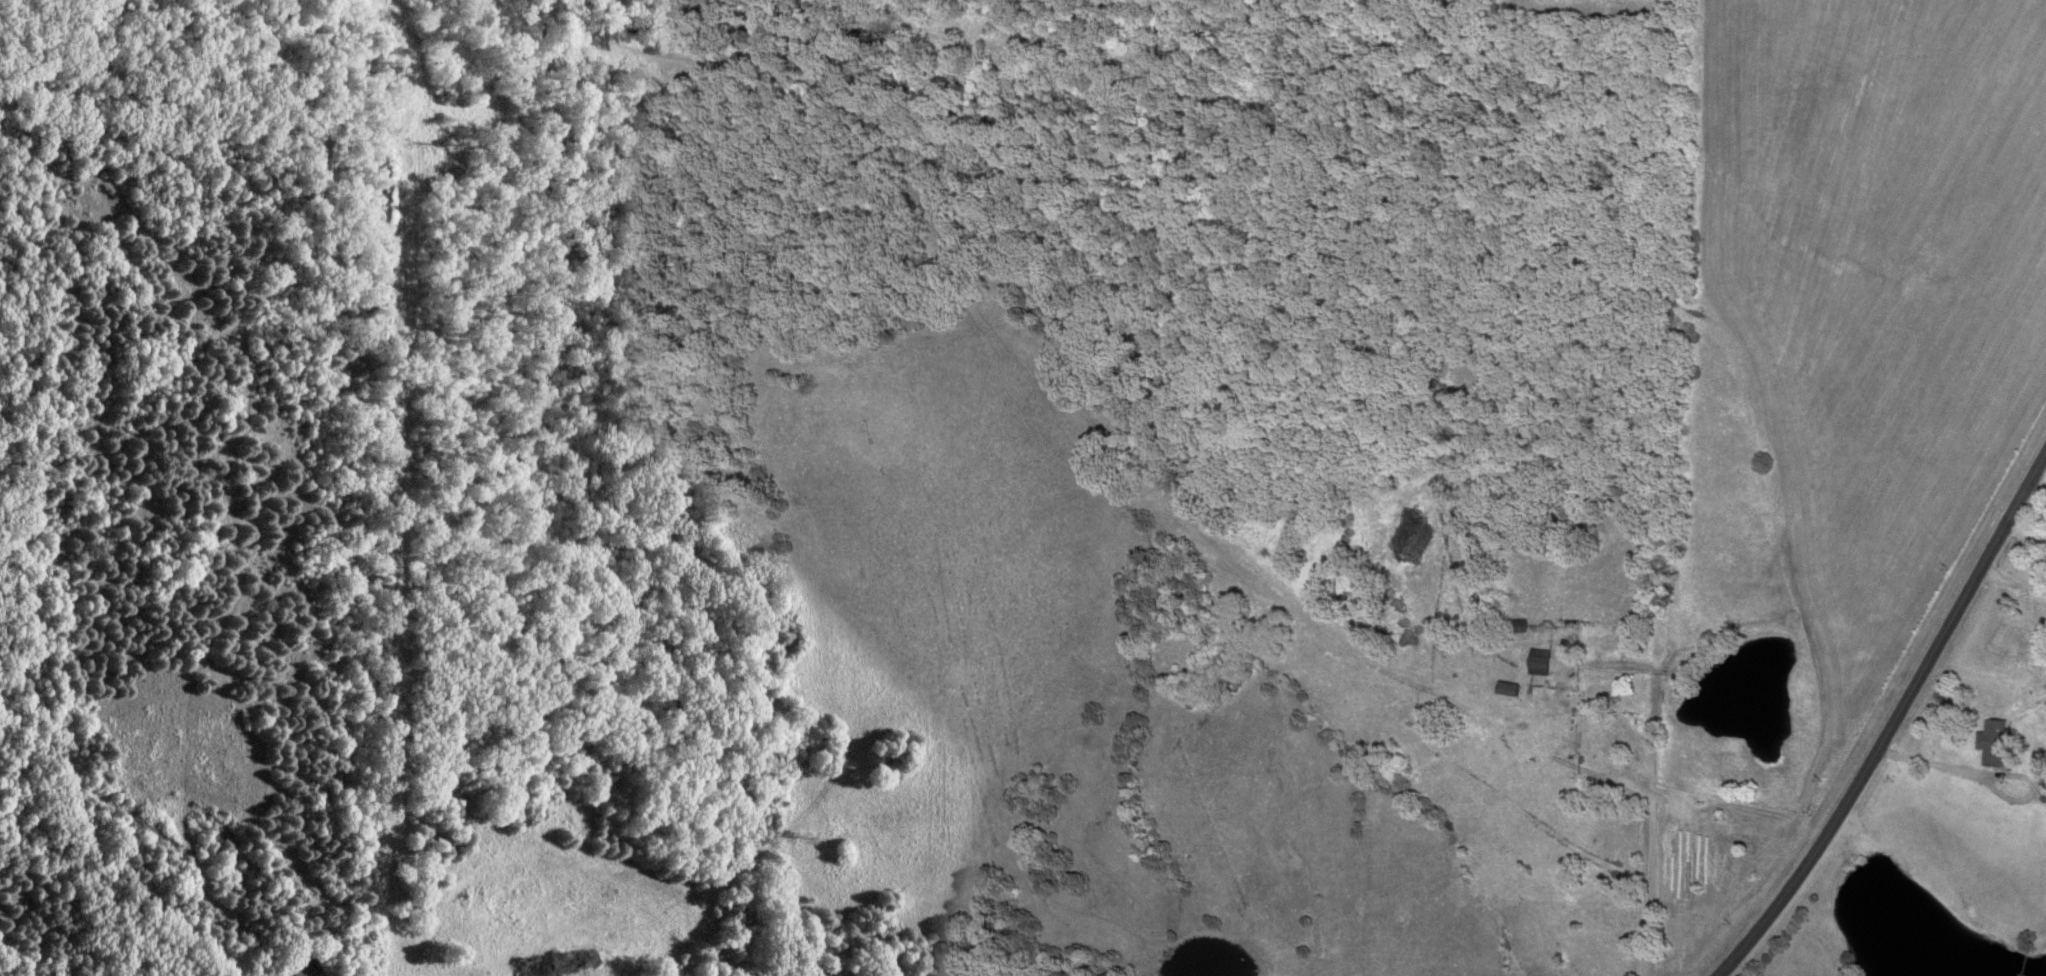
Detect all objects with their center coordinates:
road: (2012, 583)
building: (1535, 663)
building: (1504, 690)
road: (1894, 723)
building: (1990, 743)
road: (1988, 775)
building: (2043, 782)
road: (1644, 896)

